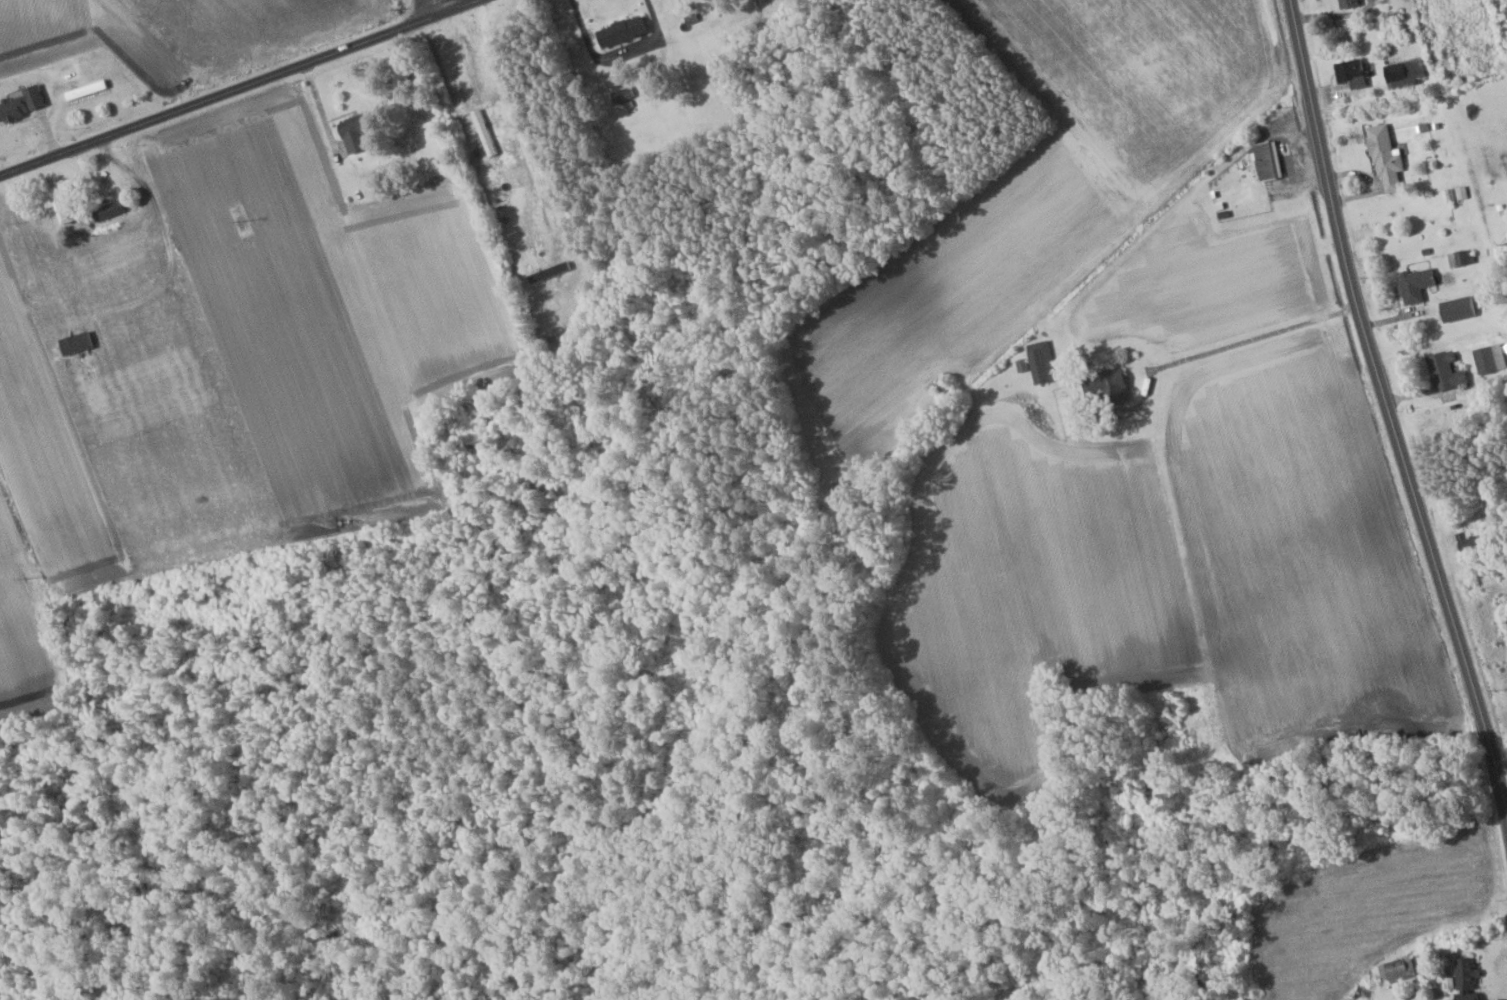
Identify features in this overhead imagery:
building: (1345, 3)
road: (437, 6)
building: (617, 31)
building: (1349, 73)
building: (1403, 74)
road: (238, 87)
building: (619, 94)
building: (21, 103)
building: (350, 135)
building: (1383, 159)
building: (1265, 161)
building: (58, 204)
building: (106, 212)
building: (1457, 258)
building: (1412, 284)
building: (1456, 308)
building: (1488, 358)
building: (1036, 362)
building: (1443, 371)
building: (939, 385)
building: (1104, 386)
road: (1387, 409)
building: (1467, 542)
building: (1396, 966)
building: (1463, 973)

